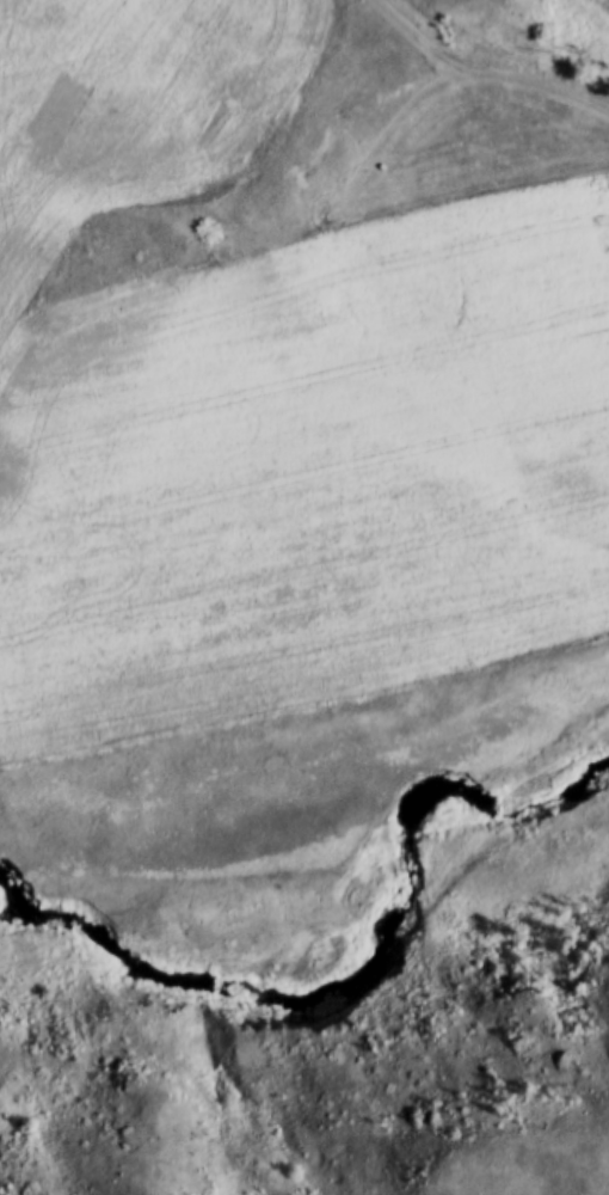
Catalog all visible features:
road: (482, 62)

